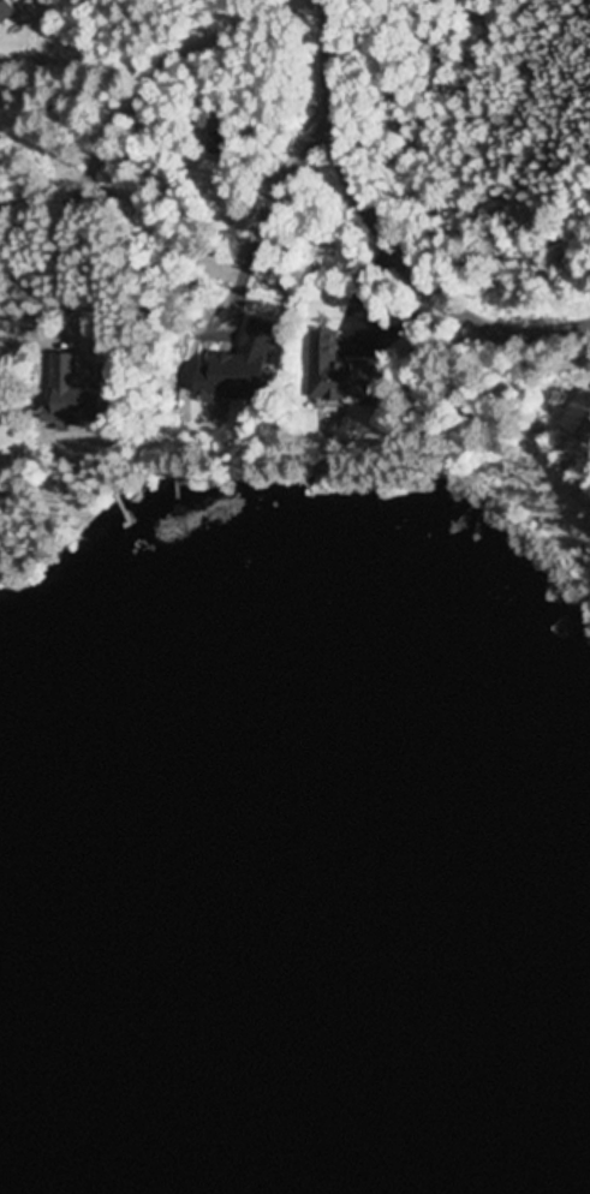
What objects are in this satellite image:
building: (5, 12)
road: (386, 233)
building: (329, 372)
building: (578, 419)

